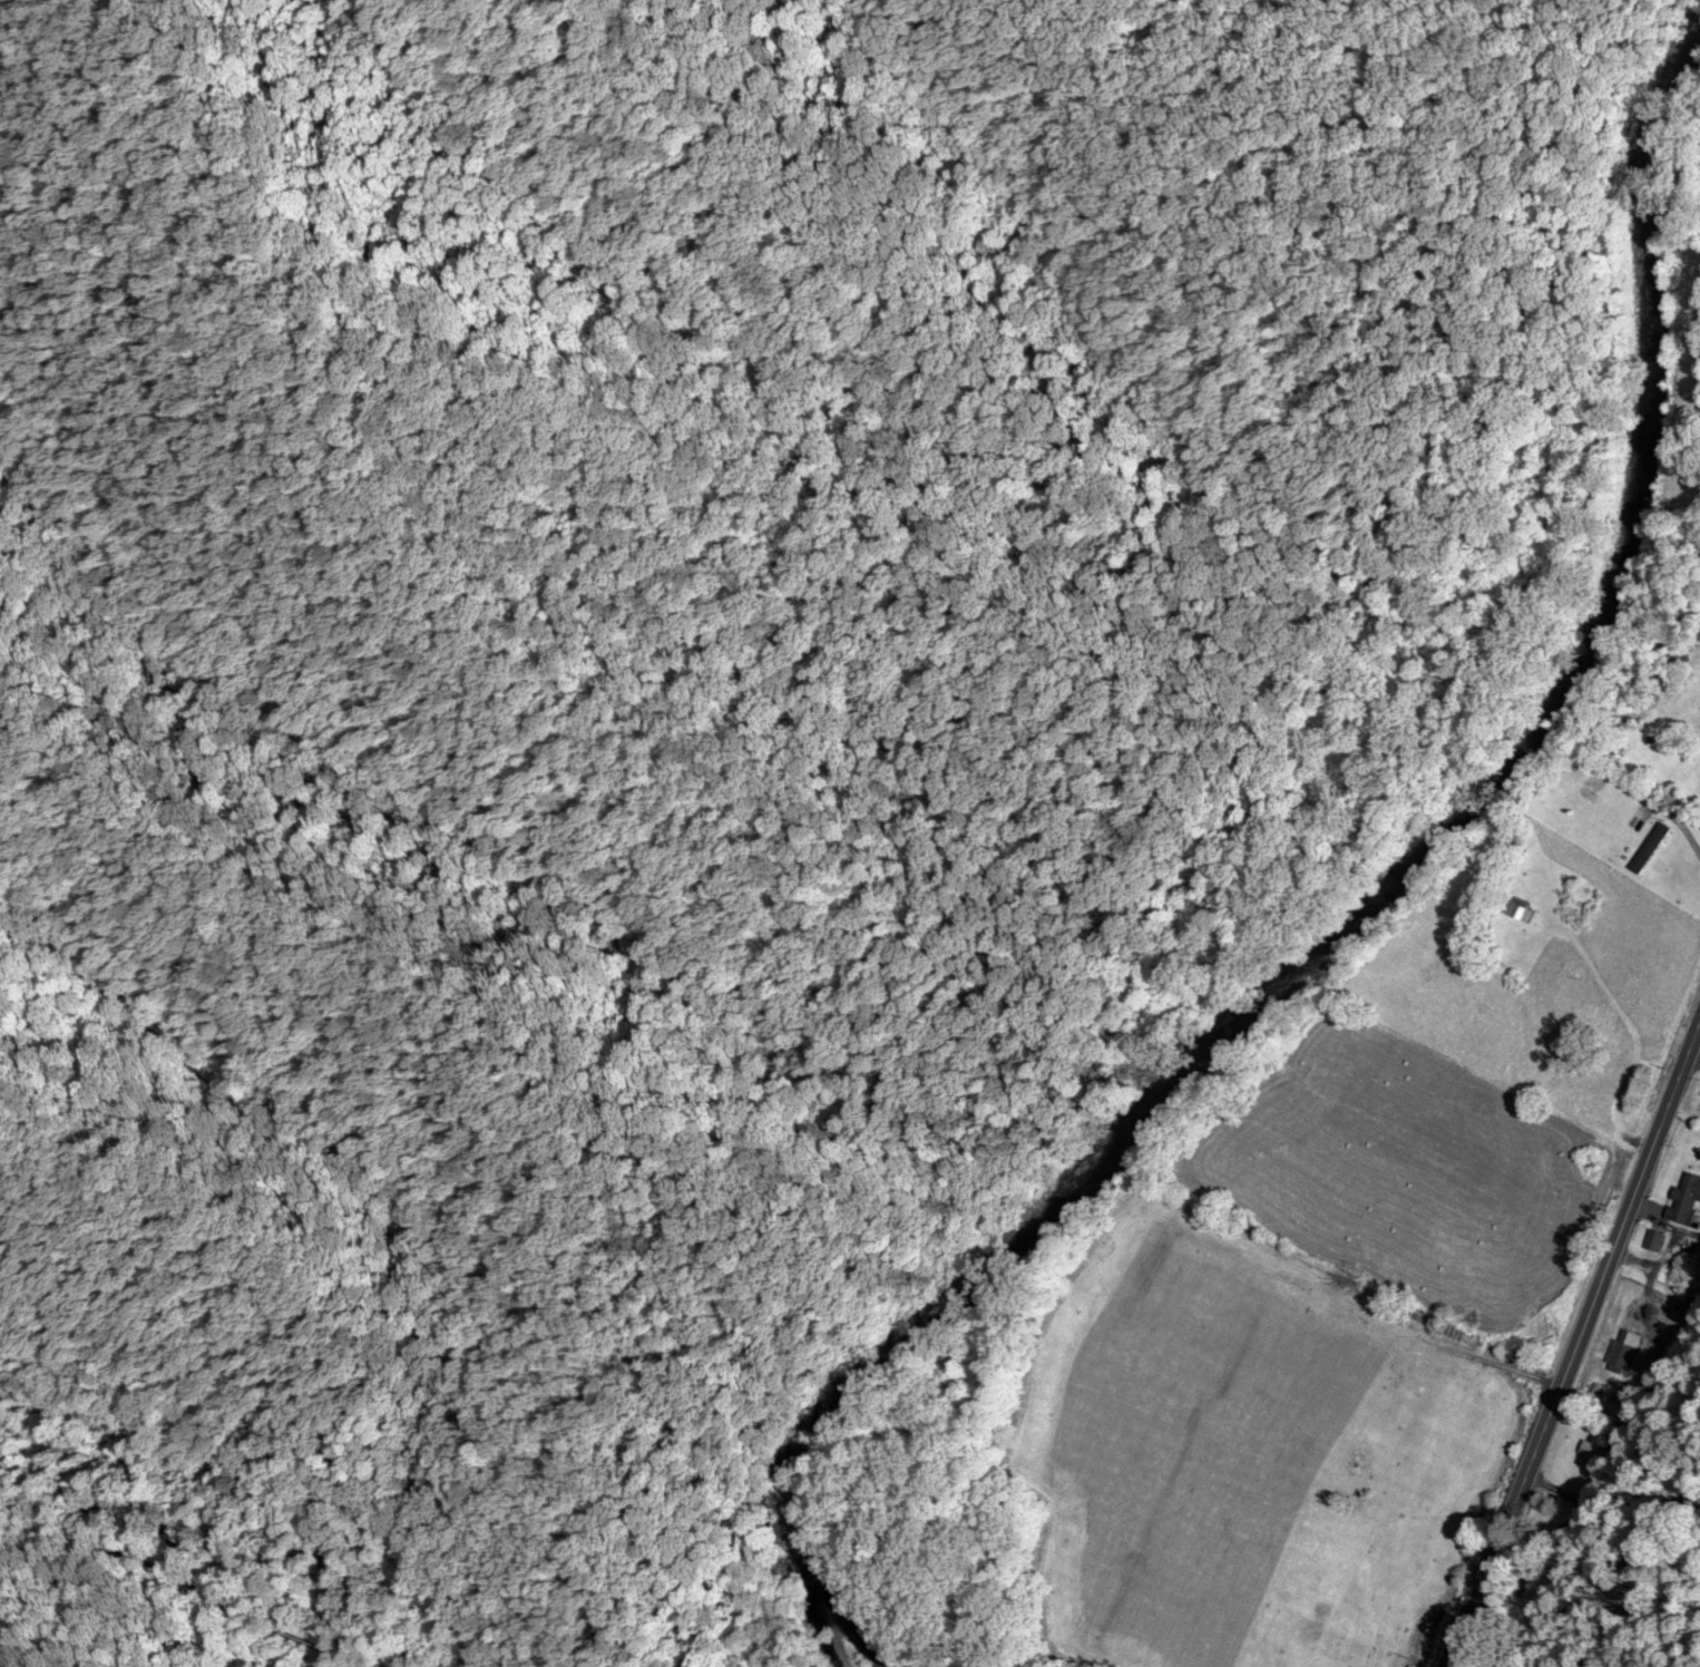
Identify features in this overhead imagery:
river: (1377, 901)
building: (1684, 1198)
road: (1580, 1346)
building: (1622, 1354)
building: (1602, 1450)
road: (177, 1628)

